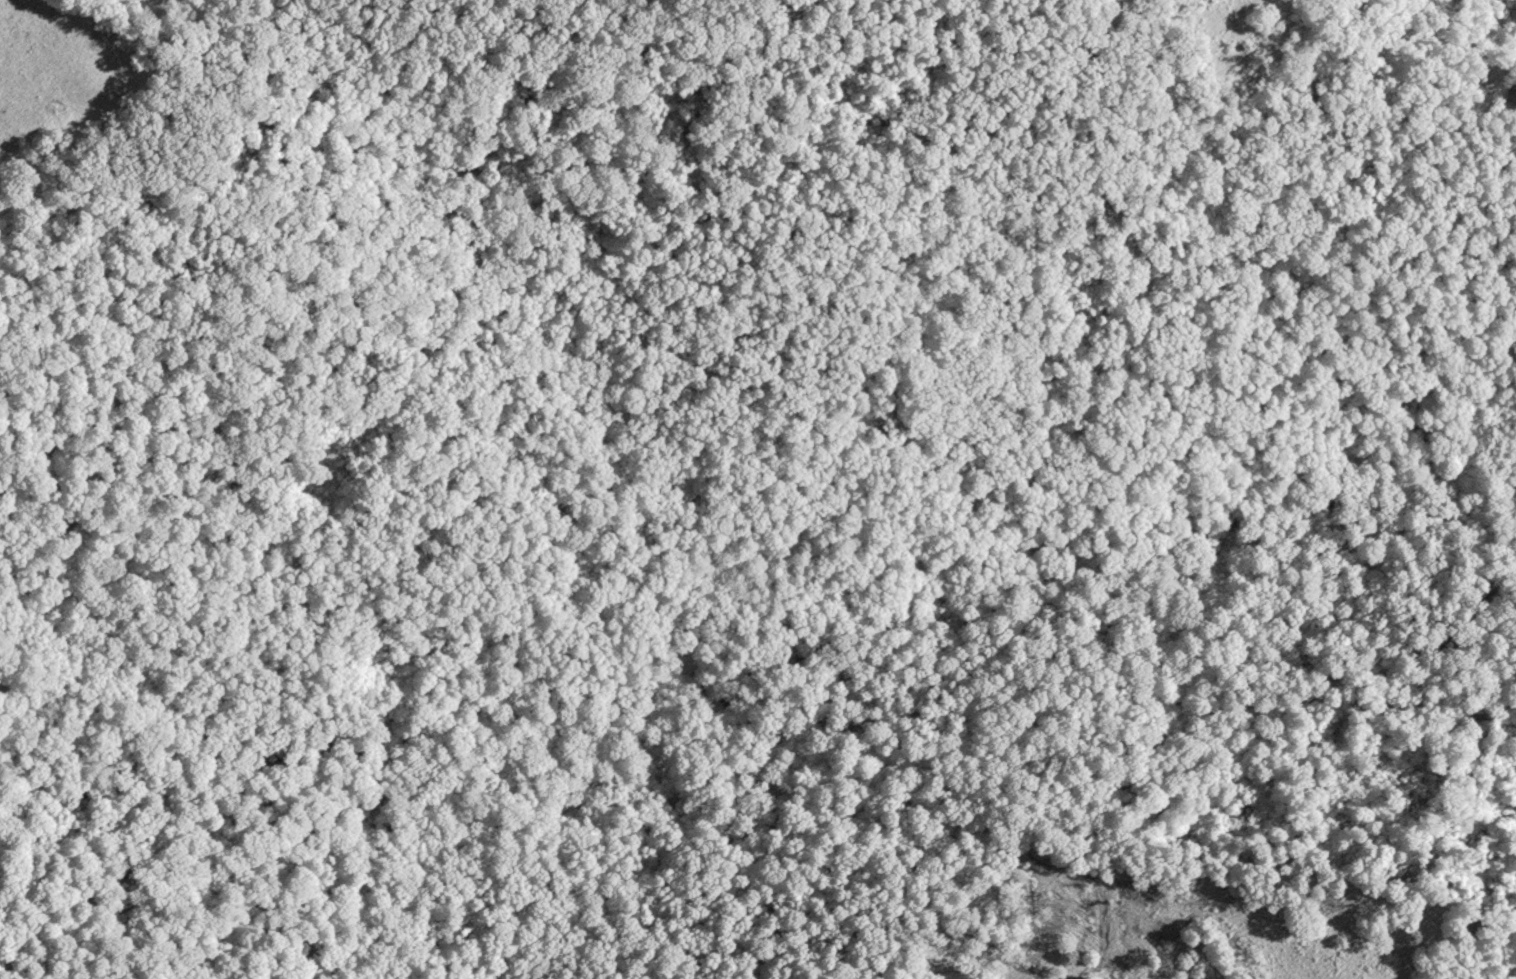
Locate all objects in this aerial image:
building: (1512, 96)

